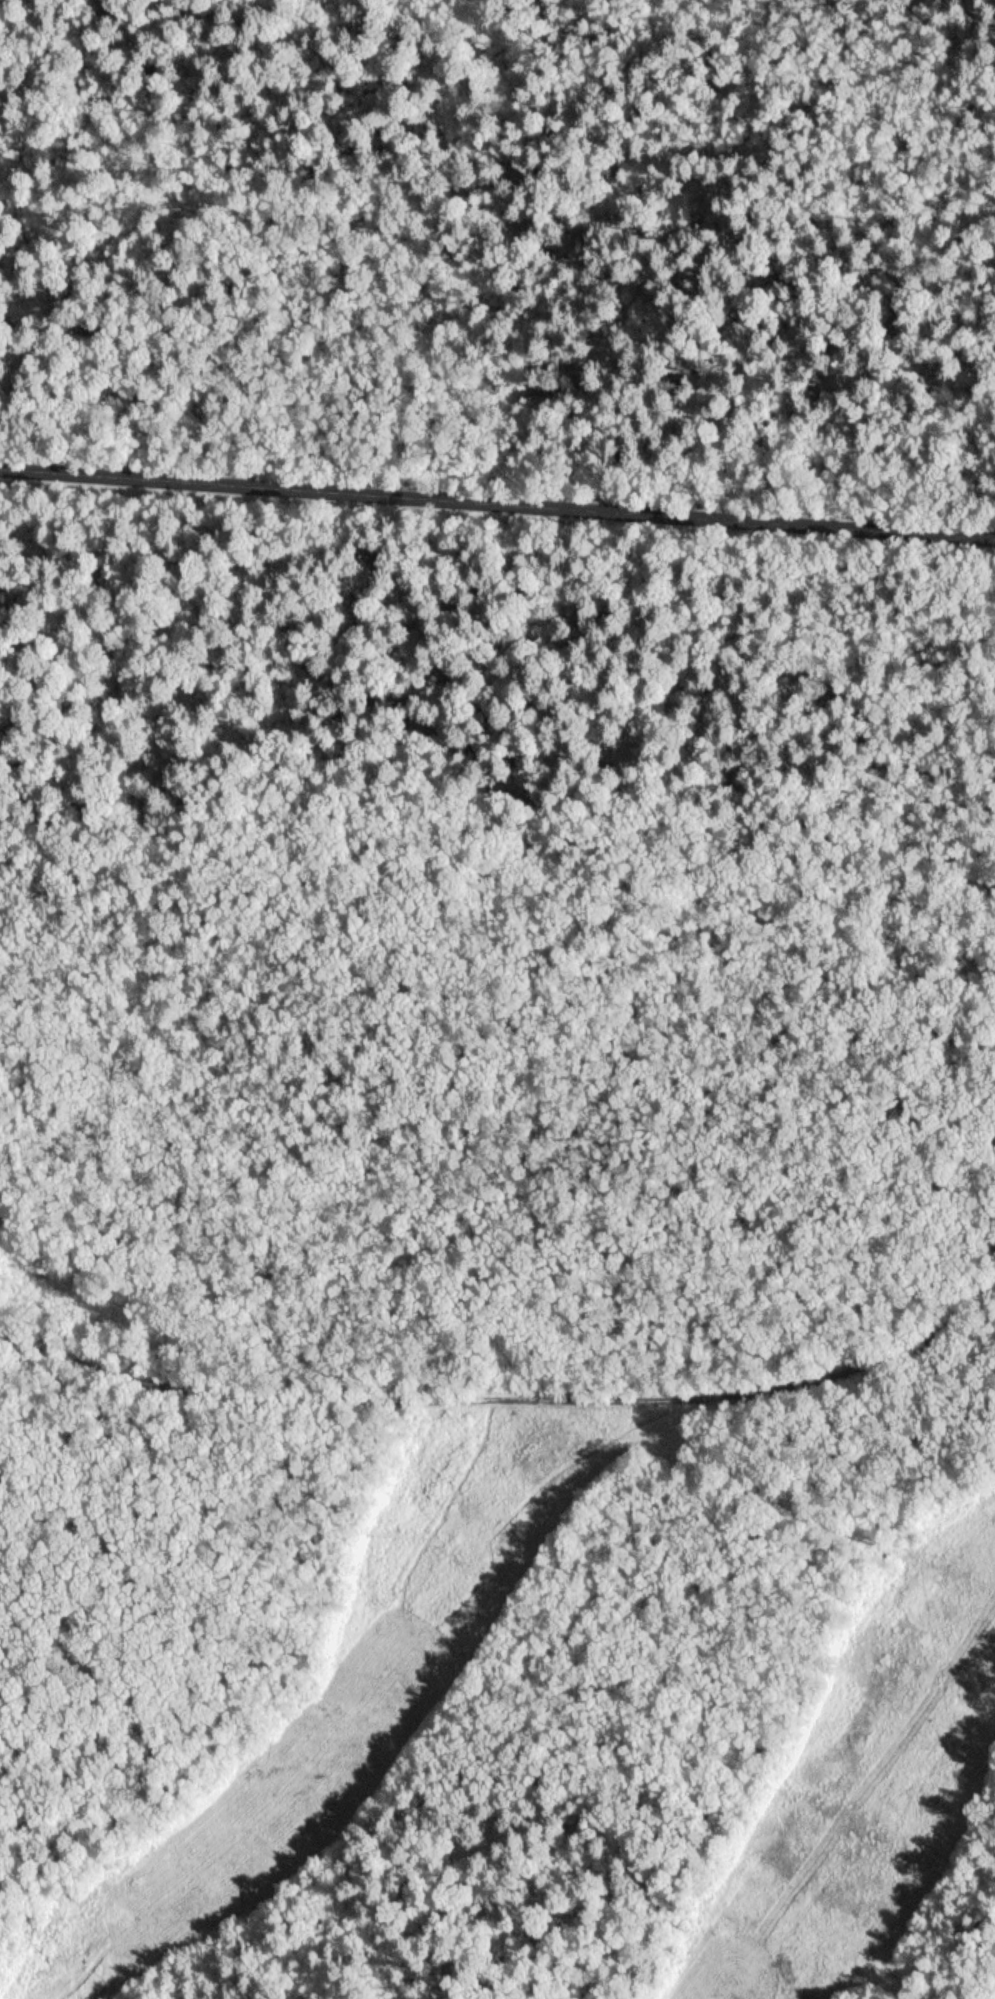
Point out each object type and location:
road: (497, 502)
road: (456, 861)
road: (504, 1394)

